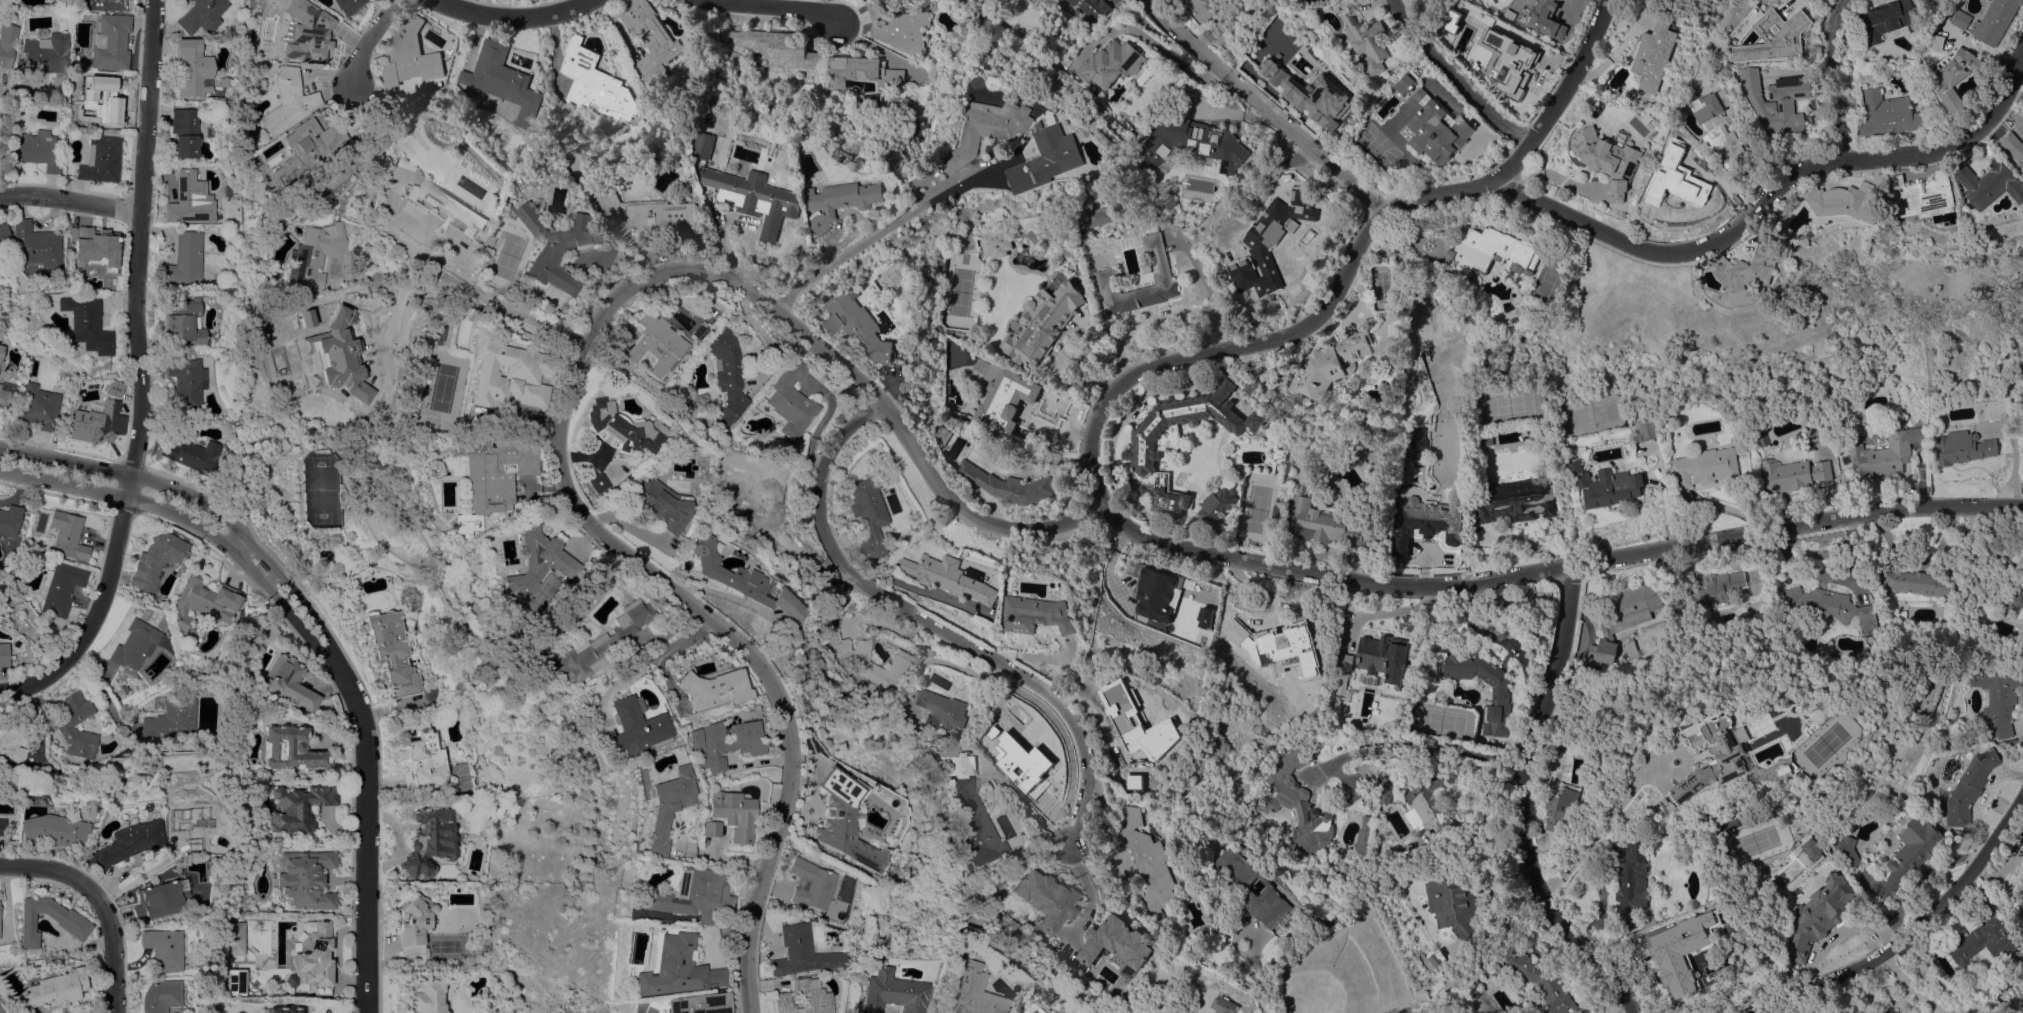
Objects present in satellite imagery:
building: (1943, 0)
building: (1947, 0)
building: (1182, 2)
building: (105, 5)
building: (347, 5)
road: (774, 7)
building: (1092, 7)
building: (202, 16)
building: (1215, 16)
road: (516, 17)
building: (1542, 18)
building: (1893, 19)
building: (1966, 19)
building: (1999, 21)
building: (899, 27)
building: (306, 31)
building: (1782, 35)
building: (649, 39)
road: (368, 41)
building: (1943, 41)
building: (110, 42)
building: (6, 43)
building: (1369, 43)
building: (776, 46)
building: (1464, 49)
building: (955, 52)
road: (1170, 53)
building: (1656, 54)
building: (408, 57)
building: (46, 59)
building: (1112, 63)
building: (1422, 66)
building: (193, 68)
building: (1519, 69)
building: (861, 71)
building: (1296, 72)
building: (1959, 77)
building: (504, 80)
building: (225, 81)
road: (1452, 81)
road: (1845, 81)
building: (1406, 82)
building: (595, 83)
building: (100, 99)
building: (871, 100)
building: (1782, 100)
building: (286, 101)
building: (1344, 105)
road: (1265, 108)
building: (1893, 114)
building: (1055, 118)
building: (1139, 118)
building: (1723, 123)
building: (1043, 124)
building: (1437, 126)
building: (992, 128)
building: (918, 131)
building: (184, 132)
building: (2015, 143)
building: (704, 144)
building: (1211, 147)
building: (305, 148)
building: (36, 150)
building: (1050, 158)
building: (1609, 158)
building: (101, 159)
building: (401, 161)
road: (1, 162)
building: (355, 162)
building: (2022, 162)
building: (1681, 176)
building: (1994, 184)
building: (1927, 195)
building: (756, 196)
building: (191, 199)
building: (842, 200)
building: (1842, 200)
road: (69, 201)
road: (1772, 202)
building: (446, 208)
building: (650, 211)
building: (1105, 215)
road: (882, 230)
road: (724, 232)
building: (3, 233)
building: (996, 243)
building: (1269, 244)
building: (34, 245)
building: (556, 245)
building: (90, 246)
building: (1488, 252)
building: (315, 254)
building: (185, 259)
building: (1749, 268)
building: (1106, 273)
road: (1345, 273)
building: (939, 288)
road: (464, 291)
road: (1212, 294)
building: (212, 300)
building: (186, 322)
building: (1041, 323)
building: (86, 324)
building: (858, 327)
building: (698, 330)
road: (763, 333)
building: (442, 334)
building: (654, 343)
building: (299, 344)
building: (1, 352)
building: (1330, 365)
building: (1429, 366)
building: (504, 372)
road: (139, 374)
building: (726, 374)
building: (63, 381)
building: (187, 382)
building: (1438, 391)
road: (570, 392)
building: (4, 397)
building: (1004, 397)
building: (1441, 398)
building: (787, 402)
building: (39, 406)
building: (102, 419)
road: (818, 425)
building: (618, 427)
building: (1647, 427)
building: (1761, 436)
building: (1817, 436)
building: (1146, 437)
building: (1416, 443)
building: (1962, 447)
building: (1887, 452)
building: (194, 455)
building: (1708, 463)
building: (1793, 473)
building: (486, 474)
building: (591, 482)
building: (1009, 485)
building: (1605, 485)
building: (745, 491)
building: (340, 495)
building: (1168, 495)
building: (1516, 500)
building: (654, 505)
building: (1218, 507)
building: (866, 514)
building: (10, 520)
building: (1427, 521)
building: (1326, 524)
building: (68, 535)
road: (798, 558)
building: (155, 561)
building: (530, 563)
building: (261, 567)
road: (1561, 572)
building: (948, 576)
building: (2016, 578)
building: (736, 581)
building: (1921, 581)
building: (1151, 586)
building: (1710, 586)
building: (60, 588)
road: (919, 588)
building: (205, 601)
building: (1824, 606)
building: (1035, 614)
building: (1200, 618)
building: (1624, 618)
building: (506, 629)
road: (940, 629)
road: (319, 640)
building: (1267, 643)
building: (134, 644)
building: (584, 646)
building: (1631, 649)
building: (822, 651)
building: (390, 653)
building: (3, 654)
road: (643, 656)
building: (863, 657)
building: (1383, 657)
building: (1343, 673)
building: (289, 683)
building: (699, 688)
building: (1500, 695)
building: (1997, 698)
building: (940, 709)
building: (899, 715)
building: (173, 717)
building: (65, 727)
building: (619, 728)
building: (1142, 728)
building: (13, 741)
building: (709, 742)
building: (1017, 742)
building: (2012, 744)
road: (1422, 746)
building: (290, 749)
building: (422, 759)
building: (1730, 760)
building: (1786, 770)
building: (1134, 784)
building: (1970, 787)
building: (1388, 789)
building: (1235, 792)
building: (1296, 801)
building: (1431, 803)
road: (1519, 805)
building: (653, 806)
building: (298, 808)
building: (1560, 809)
building: (972, 812)
building: (718, 814)
road: (1603, 819)
building: (834, 820)
building: (189, 824)
building: (1, 826)
building: (695, 829)
building: (54, 830)
building: (1361, 840)
building: (429, 841)
building: (127, 843)
building: (1844, 849)
building: (1911, 852)
building: (1147, 862)
road: (135, 878)
building: (305, 878)
building: (1633, 883)
building: (798, 884)
building: (1270, 892)
building: (680, 895)
building: (168, 898)
building: (1044, 898)
road: (98, 904)
building: (1455, 908)
building: (1819, 912)
building: (2020, 913)
building: (66, 917)
building: (414, 924)
road: (1914, 928)
building: (1203, 930)
building: (236, 938)
building: (1115, 941)
building: (1982, 941)
building: (162, 949)
building: (1688, 952)
building: (791, 953)
building: (313, 959)
building: (665, 968)
road: (1260, 975)
building: (235, 981)
building: (1543, 983)
road: (1908, 985)
building: (52, 990)
building: (964, 990)
building: (887, 992)
building: (159, 996)
building: (424, 996)
building: (793, 998)
building: (688, 1004)
building: (1225, 1005)
building: (283, 1009)
building: (1891, 1010)
building: (0, 1012)

